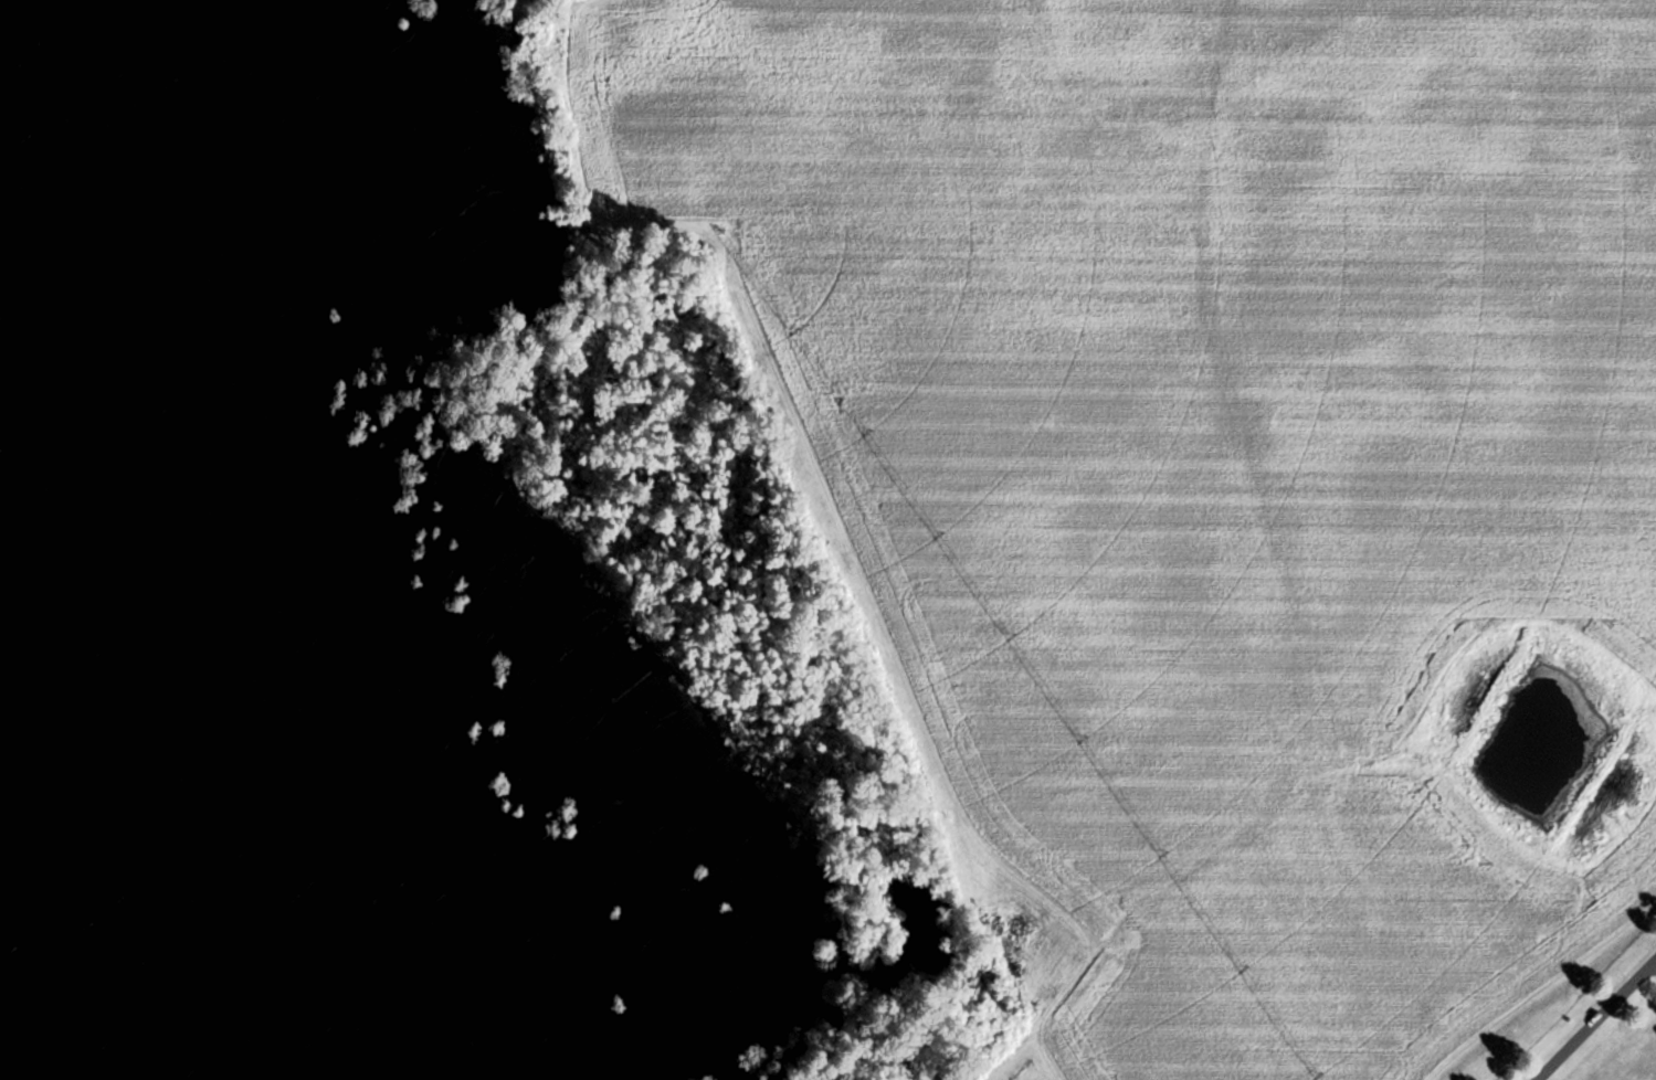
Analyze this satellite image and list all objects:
road: (1597, 1020)

